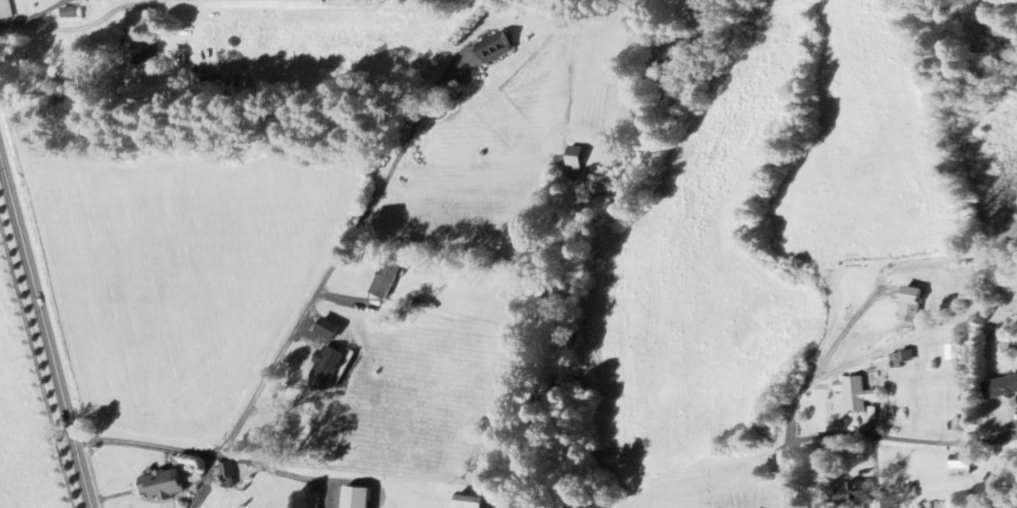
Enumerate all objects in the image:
road: (316, 2)
road: (34, 8)
building: (5, 10)
building: (71, 13)
building: (497, 47)
building: (578, 159)
building: (387, 279)
building: (907, 304)
road: (310, 306)
road: (45, 327)
building: (332, 328)
building: (331, 369)
building: (999, 387)
building: (855, 395)
road: (793, 403)
road: (904, 439)
road: (146, 449)
building: (958, 465)
building: (229, 475)
road: (787, 475)
building: (166, 484)
building: (360, 497)
building: (476, 502)

